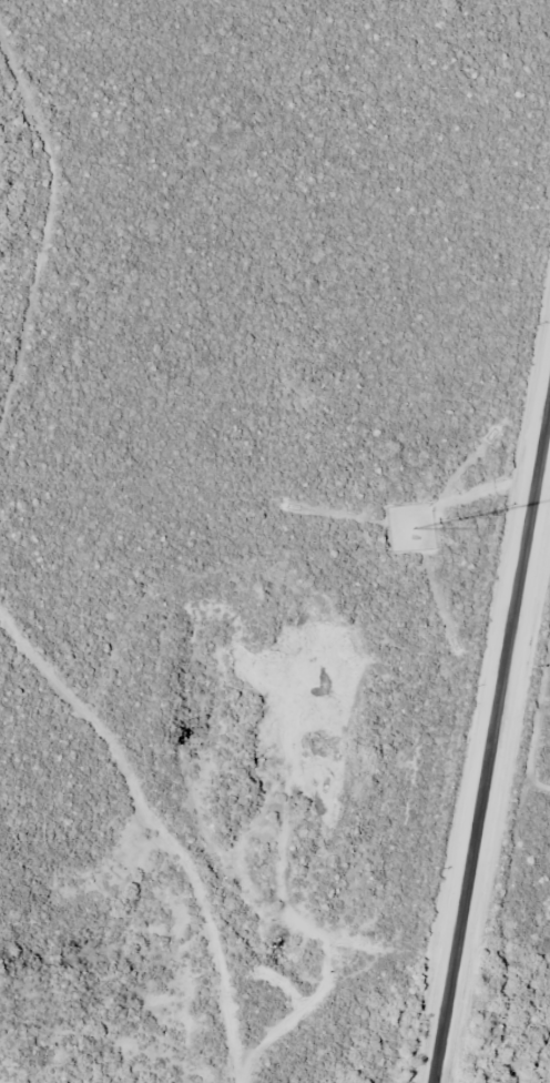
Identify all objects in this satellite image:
road: (492, 751)

